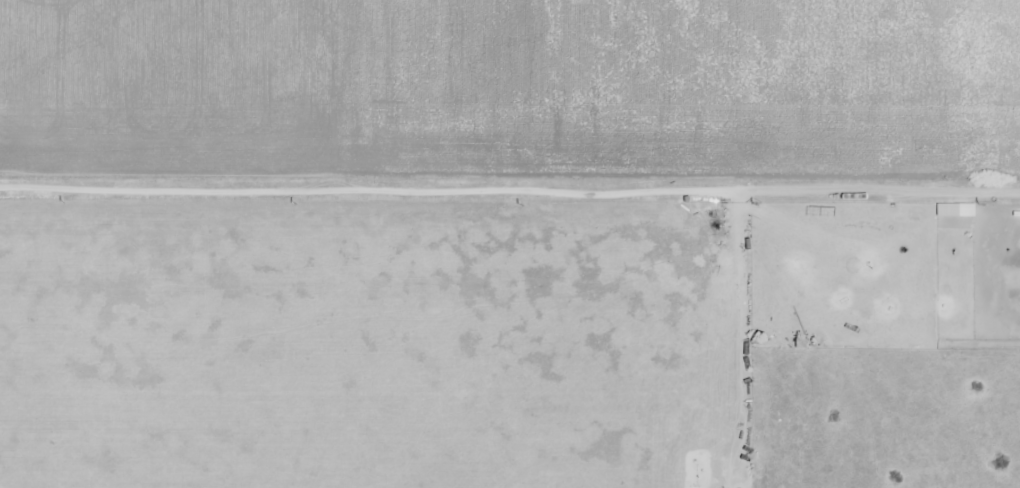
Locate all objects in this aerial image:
road: (577, 170)
road: (68, 186)
power tower: (61, 201)
power tower: (290, 202)
power tower: (977, 203)
power tower: (515, 204)
power tower: (750, 205)
building: (813, 213)

